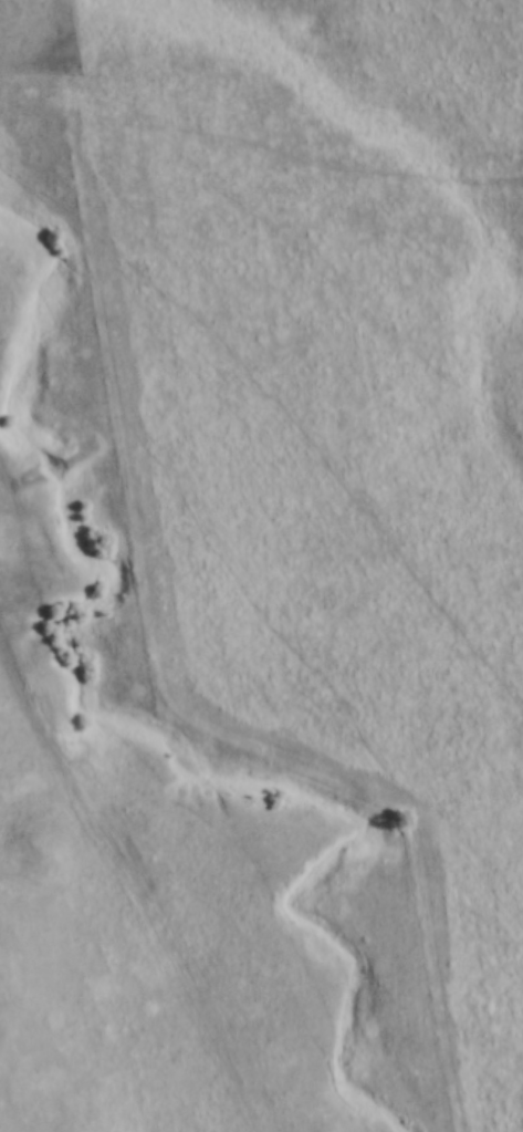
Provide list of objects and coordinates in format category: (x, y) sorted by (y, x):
road: (137, 841)

